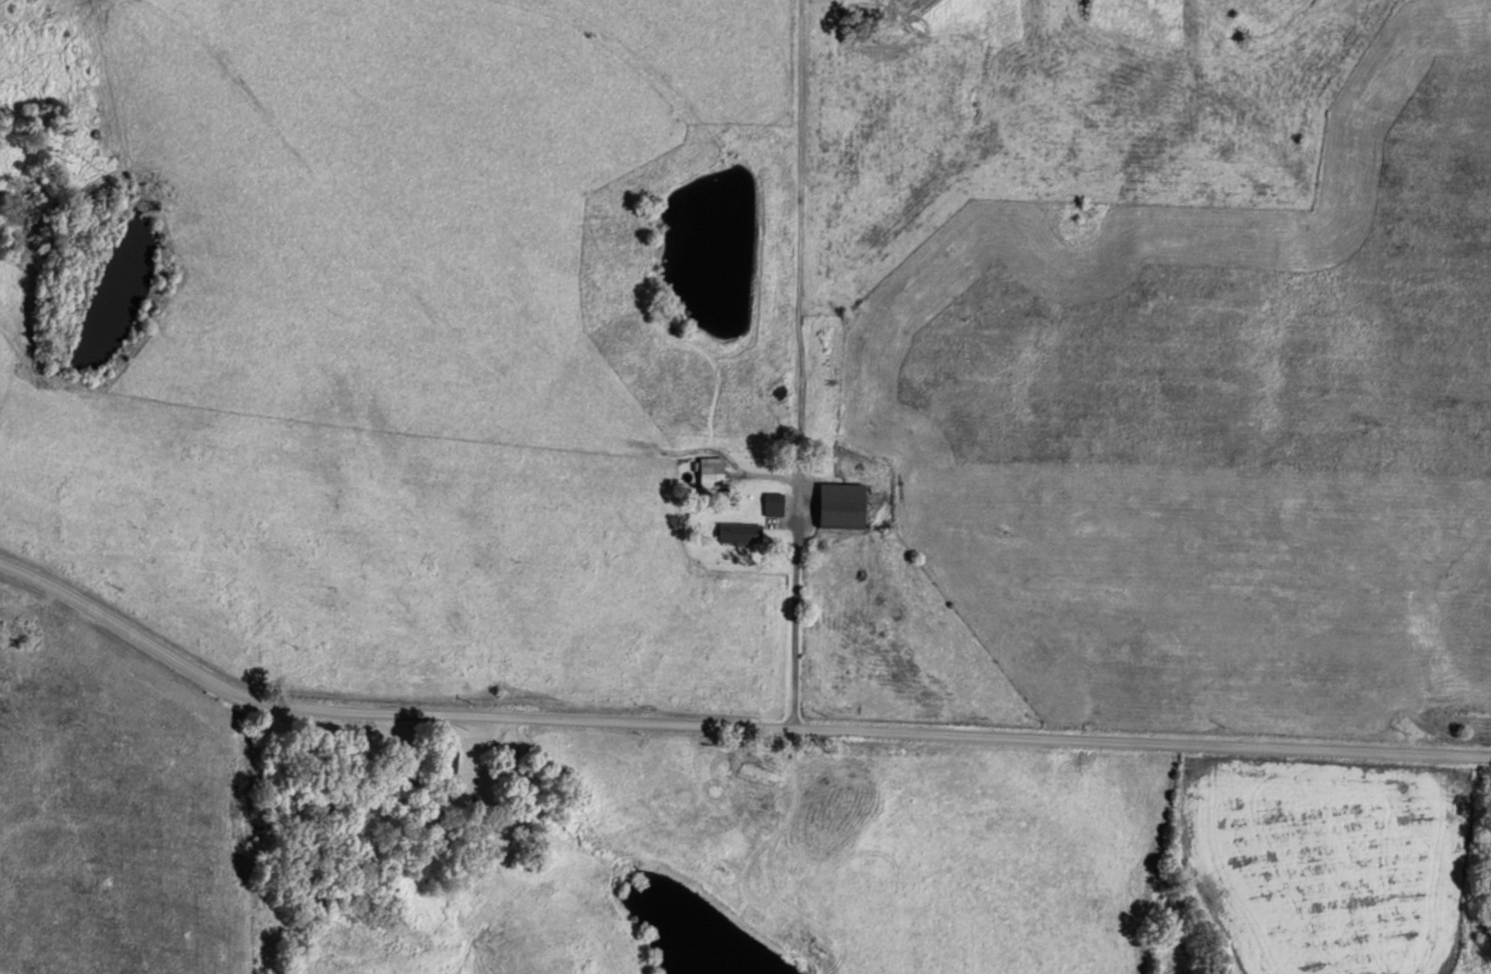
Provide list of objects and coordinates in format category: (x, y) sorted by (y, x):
building: (775, 502)
building: (843, 504)
building: (740, 531)
road: (732, 738)
building: (450, 757)

